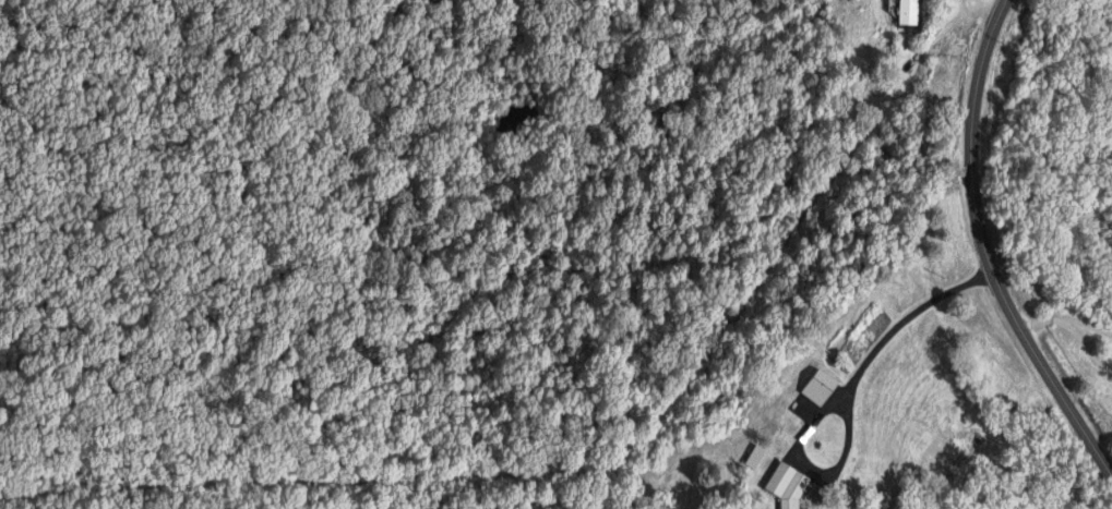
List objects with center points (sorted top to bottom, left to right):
road: (992, 4)
building: (907, 12)
road: (1096, 32)
road: (945, 38)
road: (988, 245)
road: (914, 322)
road: (1053, 329)
road: (1088, 338)
building: (818, 386)
road: (851, 457)
building: (787, 484)

